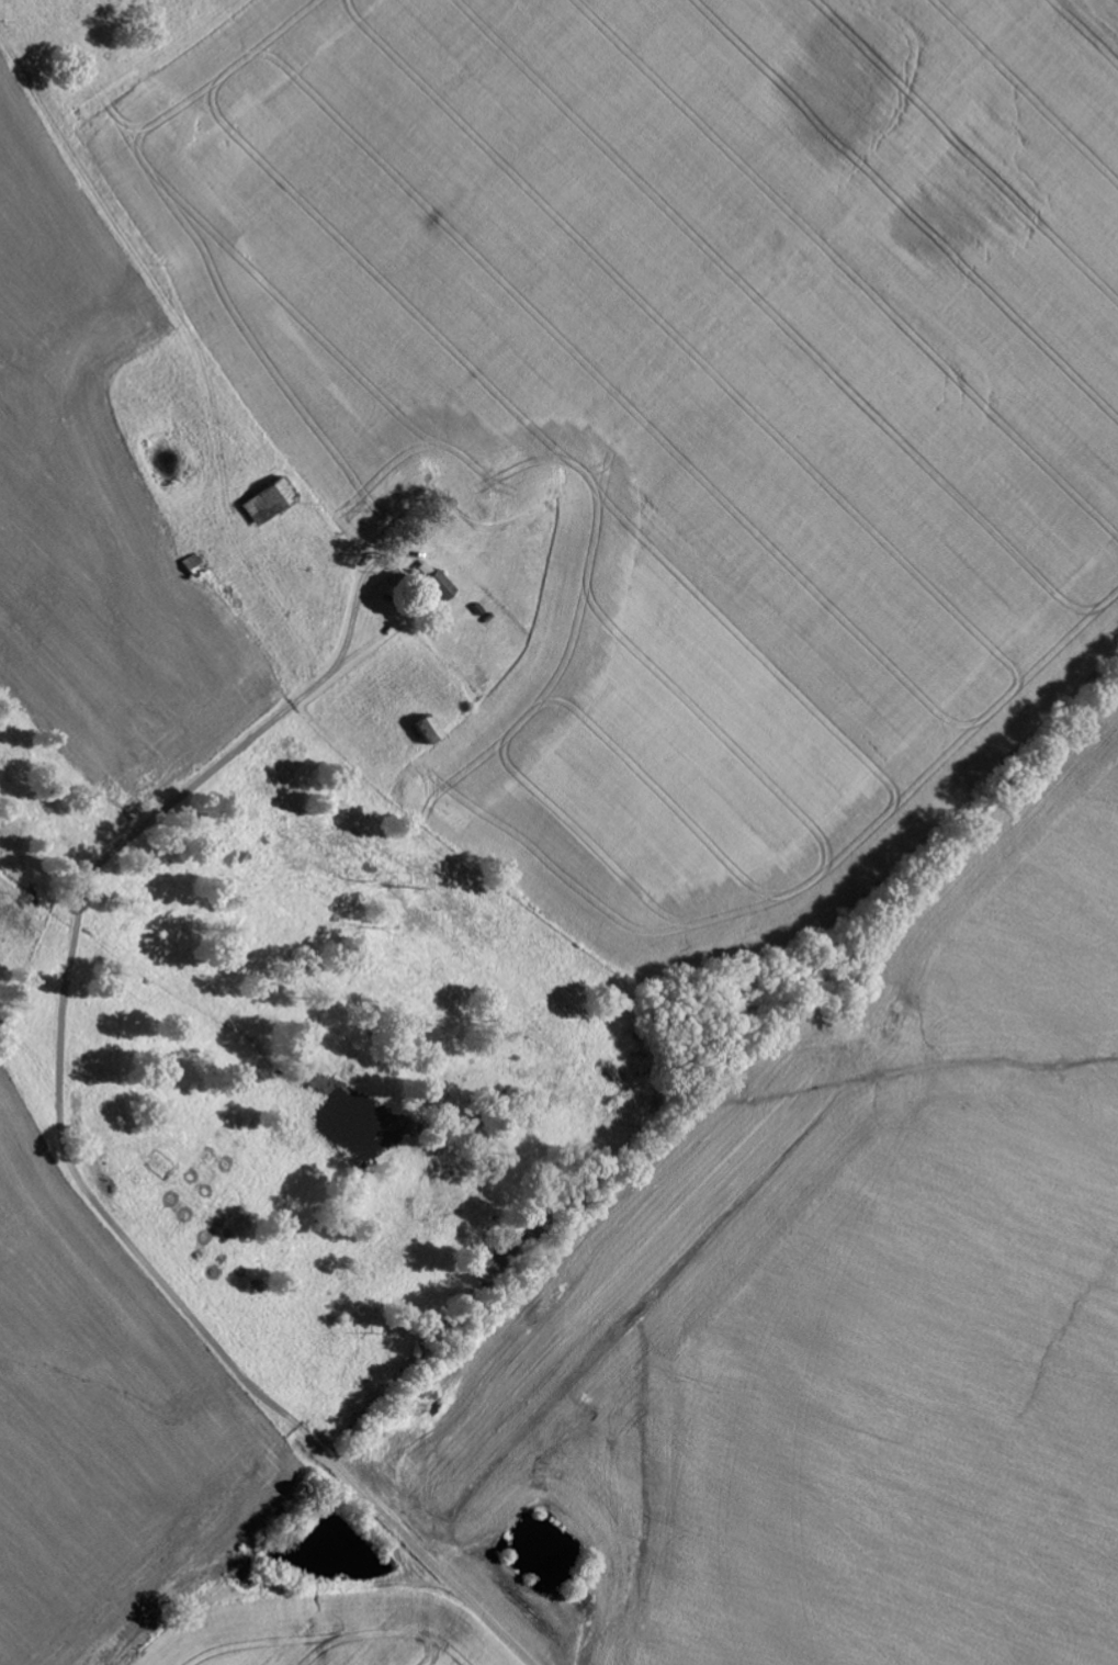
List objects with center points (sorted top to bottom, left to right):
building: (268, 499)
building: (437, 584)
road: (404, 620)
building: (427, 729)
road: (104, 1215)

